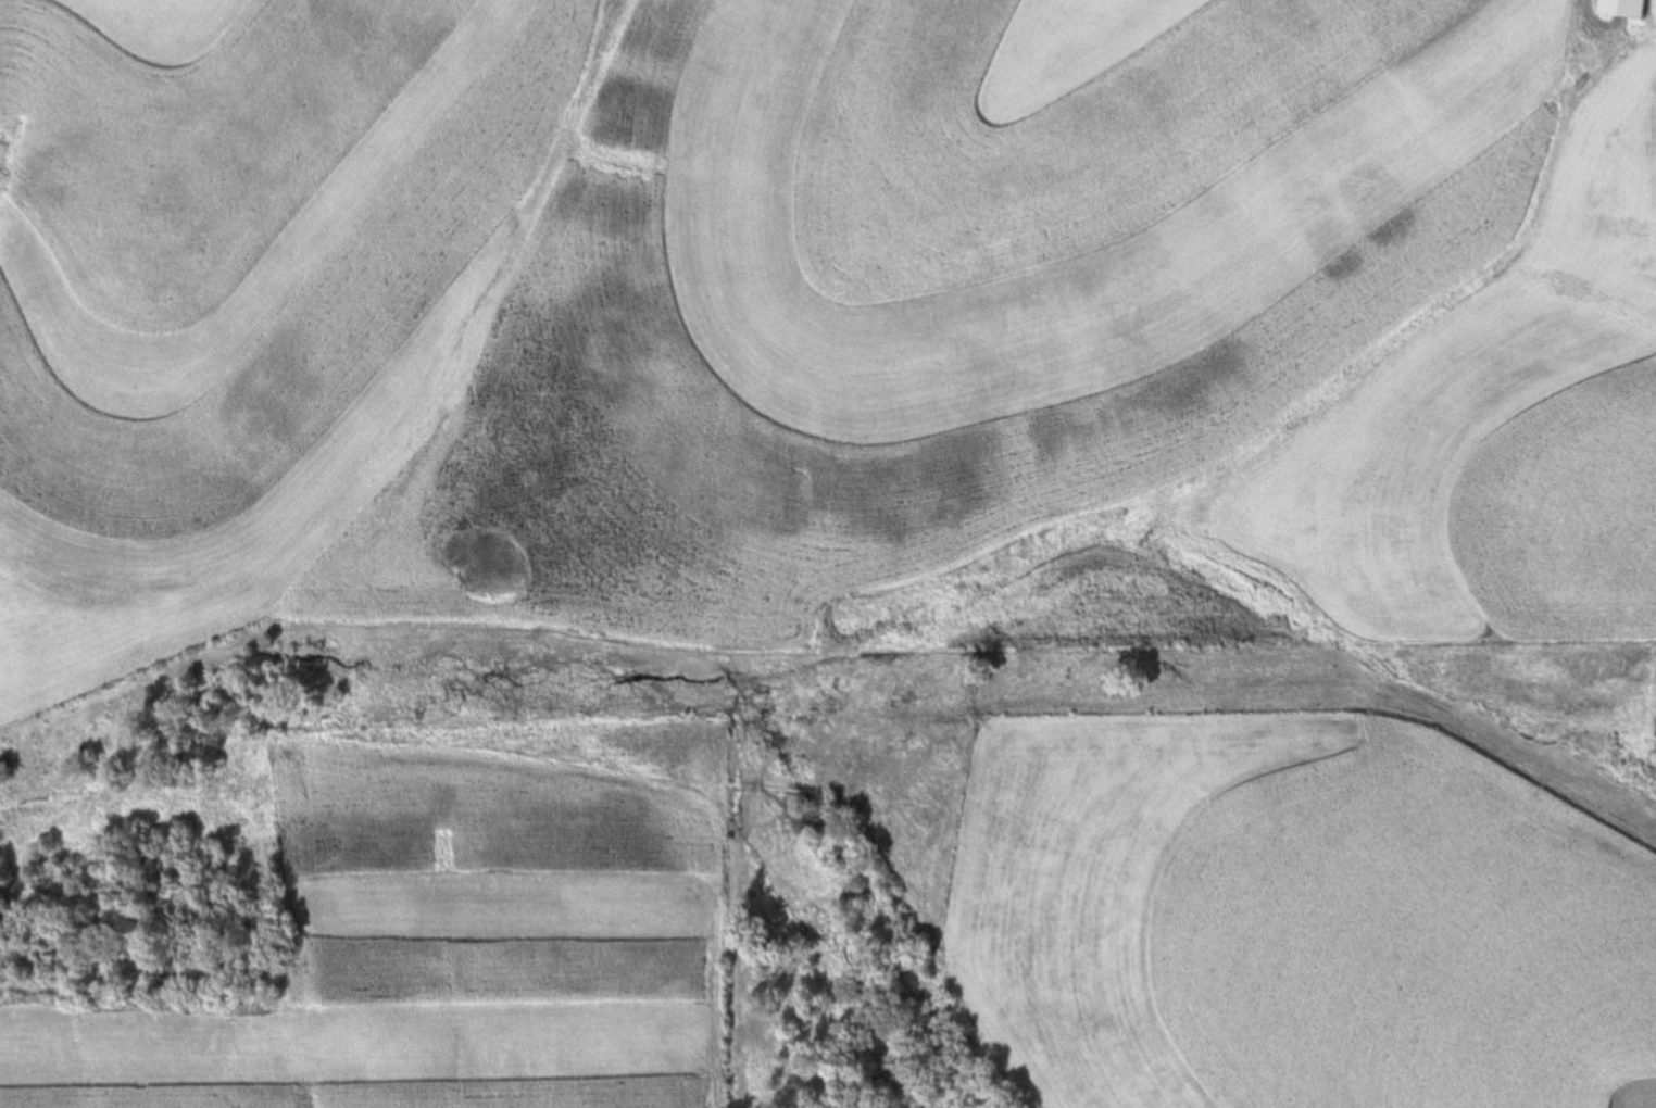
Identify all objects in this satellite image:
building: (1623, 8)

